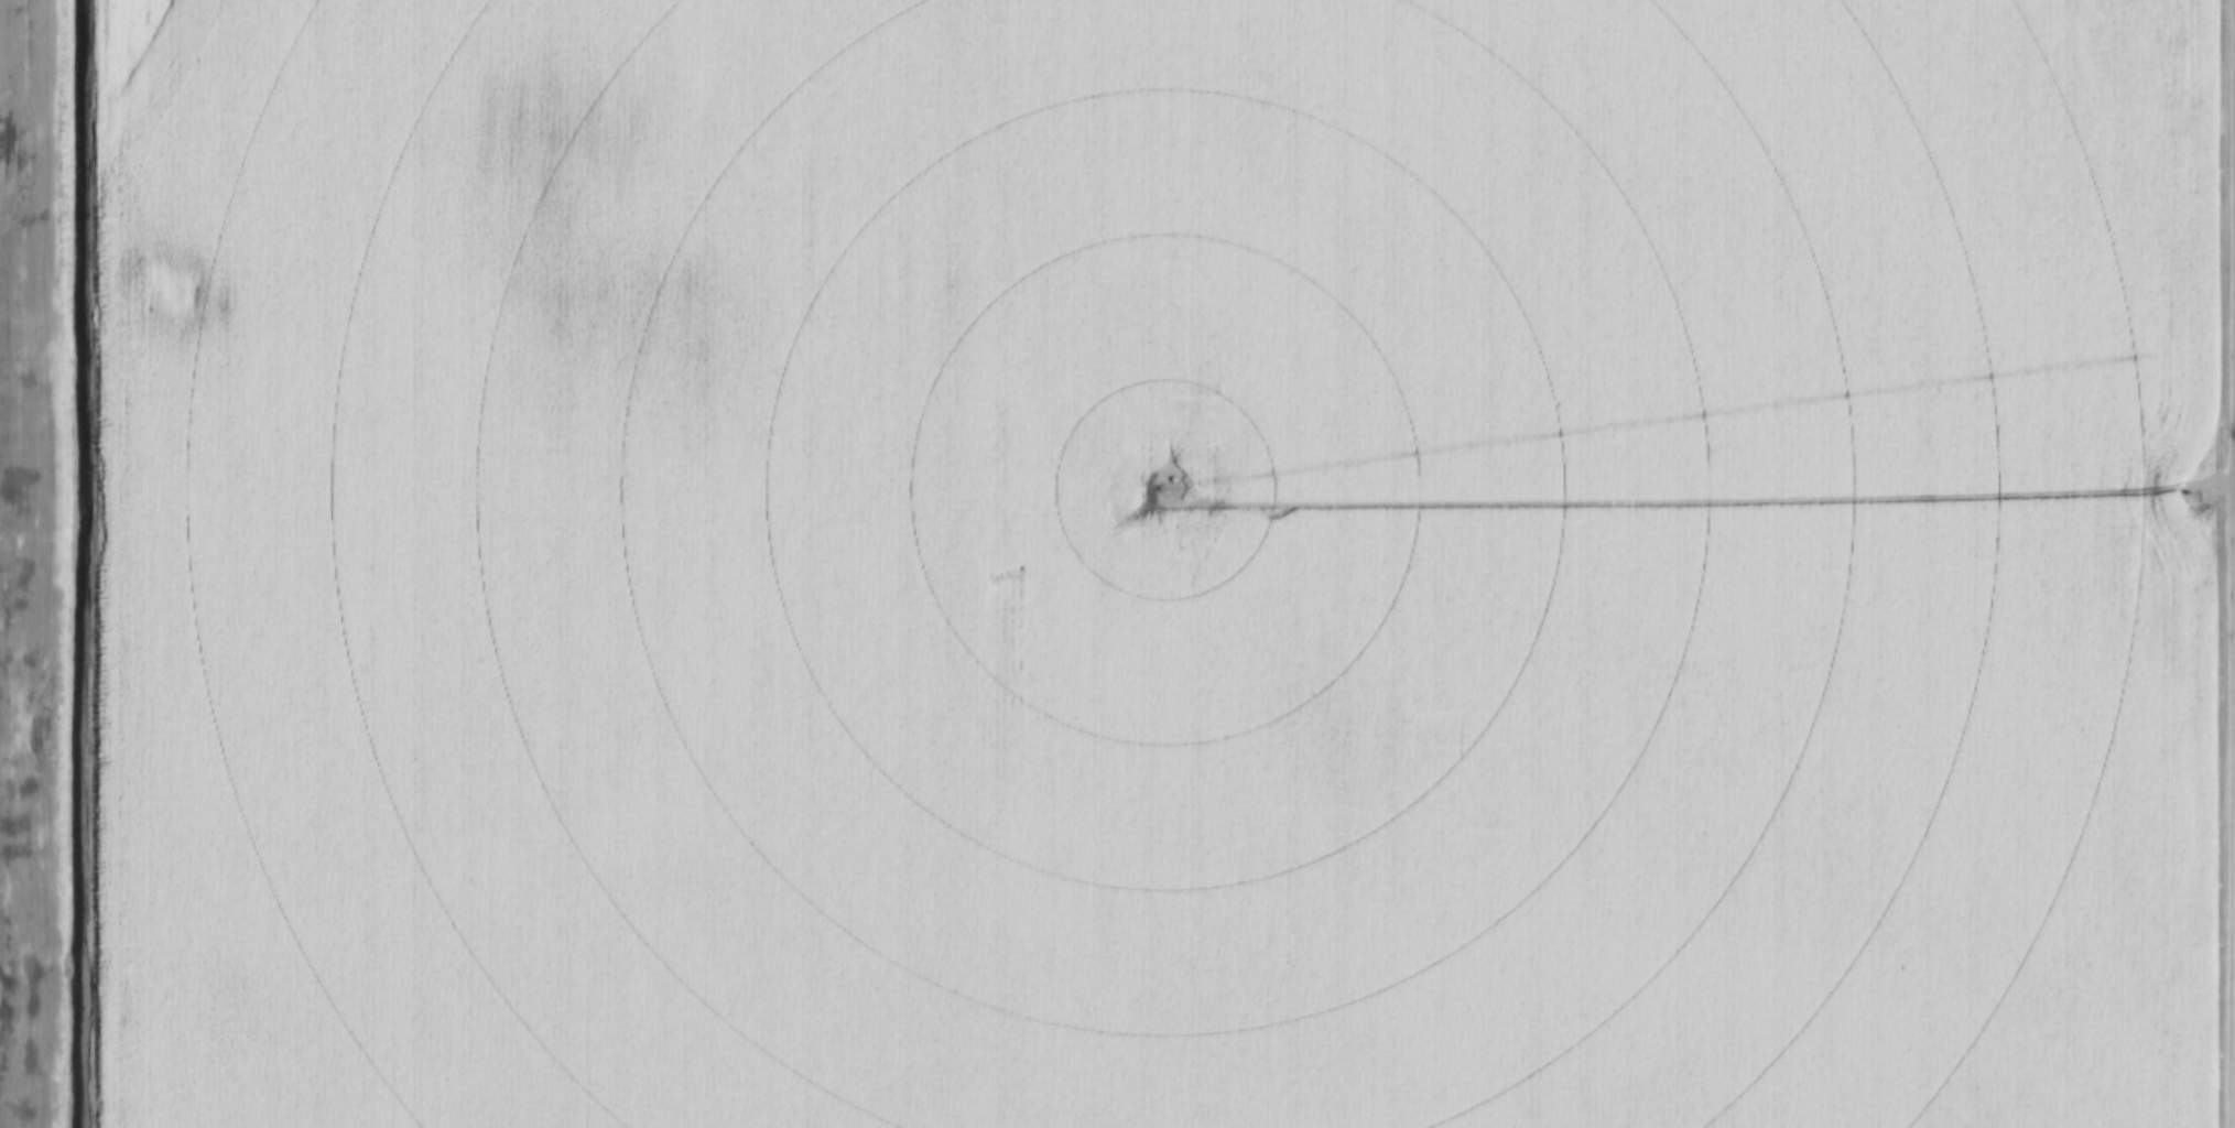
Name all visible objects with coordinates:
road: (2231, 817)

